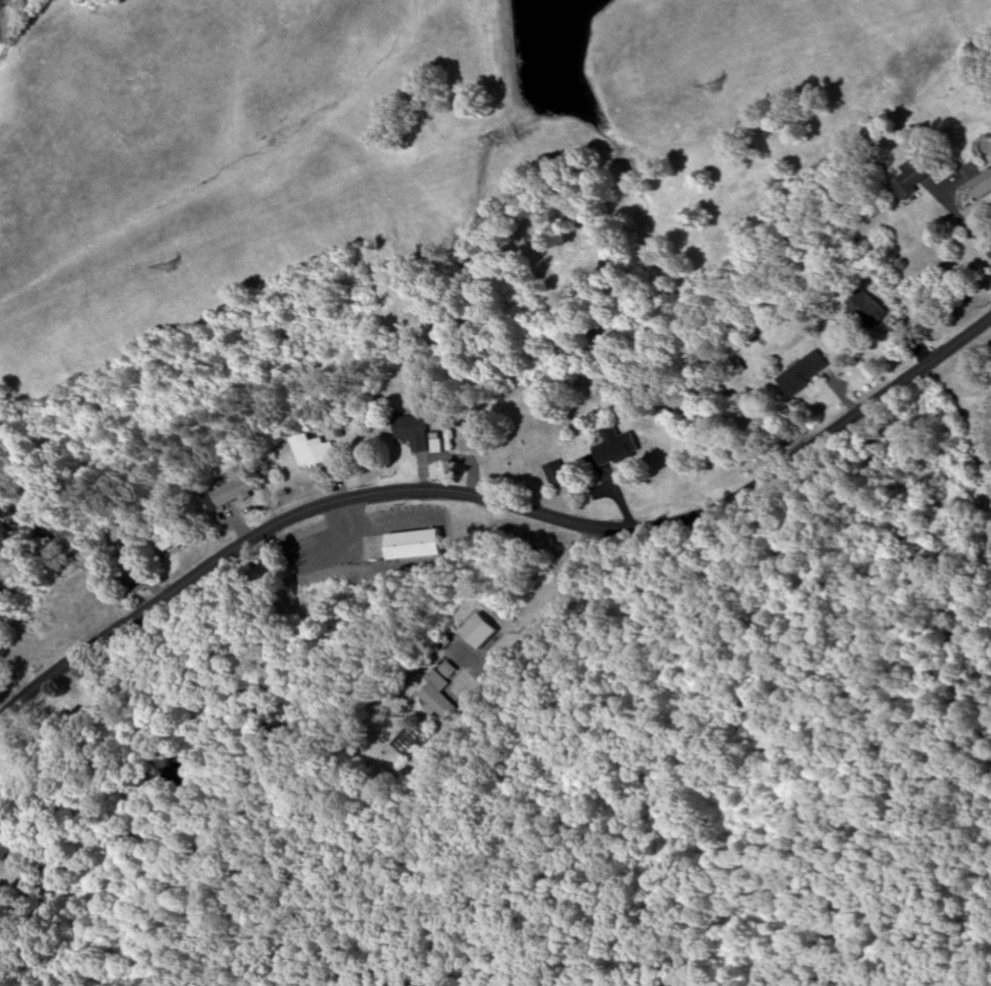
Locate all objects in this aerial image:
building: (990, 160)
building: (981, 184)
building: (864, 310)
building: (802, 374)
building: (412, 432)
building: (615, 447)
building: (312, 451)
building: (554, 473)
building: (233, 488)
road: (493, 496)
building: (414, 545)
building: (81, 614)
road: (549, 619)
building: (436, 692)
park: (675, 807)
building: (4, 851)

